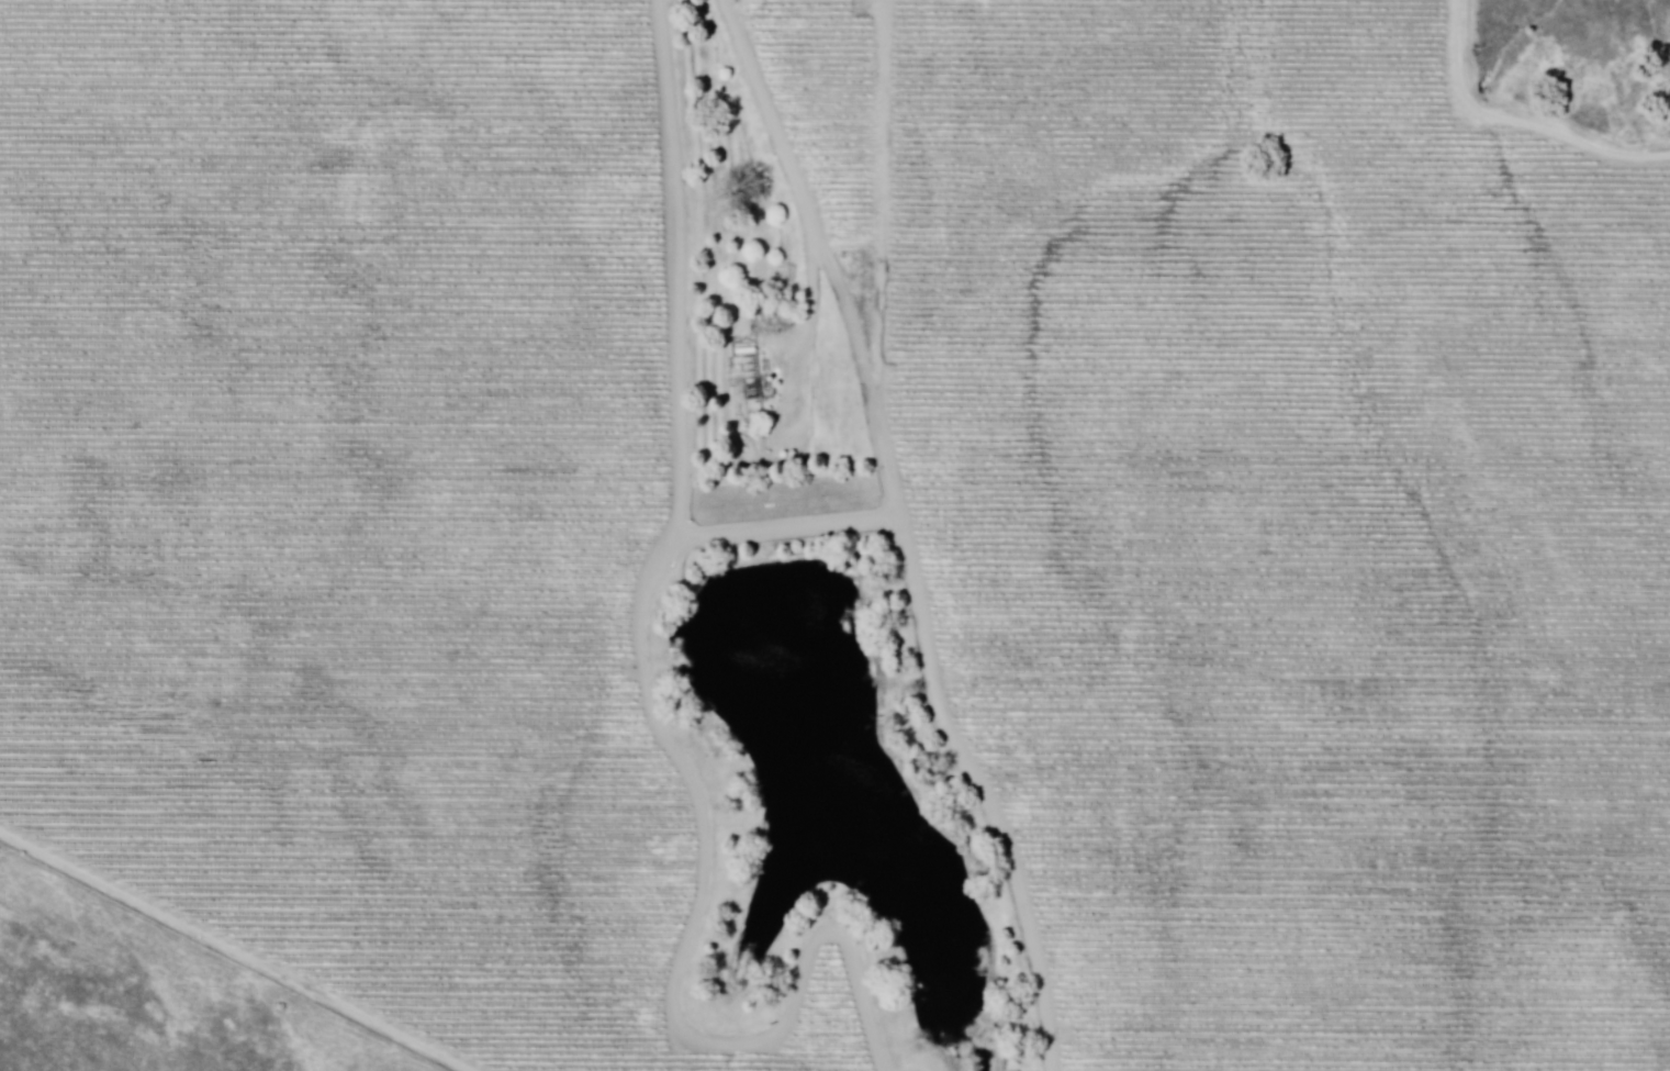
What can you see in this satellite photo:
road: (1517, 121)
road: (881, 214)
building: (756, 372)
road: (798, 376)
road: (787, 529)
road: (899, 532)
road: (655, 710)
road: (232, 952)

